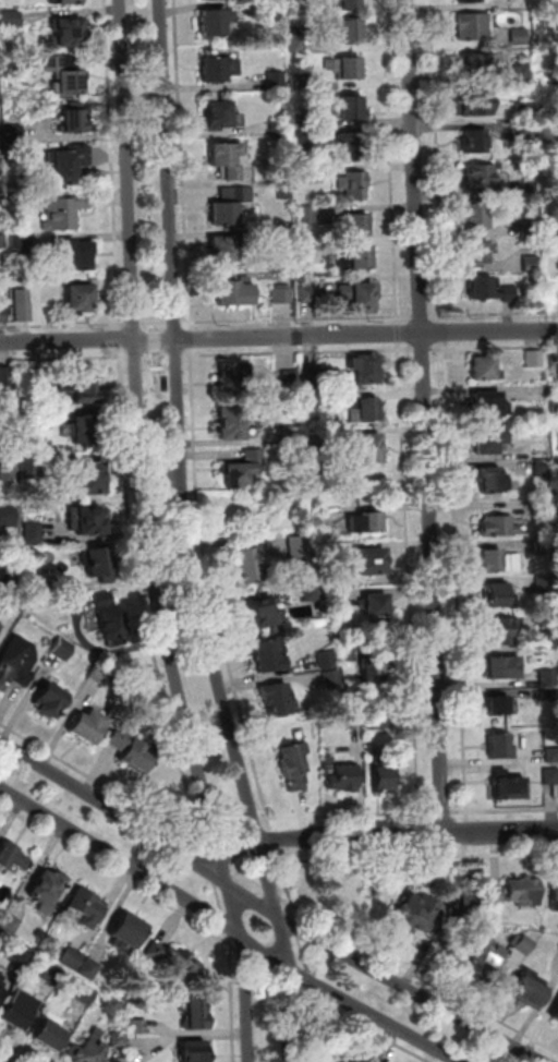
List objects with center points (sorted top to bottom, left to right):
building: (466, 0)
building: (66, 1)
building: (349, 3)
building: (274, 12)
building: (13, 20)
building: (210, 22)
building: (471, 25)
building: (349, 29)
building: (70, 33)
building: (518, 34)
building: (313, 39)
building: (298, 44)
building: (473, 61)
building: (349, 65)
building: (218, 67)
building: (521, 69)
building: (69, 74)
building: (551, 79)
building: (277, 81)
road: (386, 81)
building: (300, 82)
building: (472, 99)
building: (350, 104)
building: (526, 110)
building: (216, 112)
building: (302, 119)
building: (75, 122)
building: (278, 129)
building: (527, 131)
building: (16, 134)
building: (473, 137)
building: (302, 138)
building: (350, 138)
building: (553, 138)
building: (0, 147)
building: (229, 158)
road: (435, 159)
building: (68, 165)
road: (184, 165)
building: (478, 174)
building: (307, 176)
building: (354, 183)
building: (530, 189)
building: (284, 191)
building: (2, 203)
building: (65, 212)
building: (221, 213)
building: (308, 215)
building: (477, 215)
road: (117, 221)
building: (357, 222)
building: (531, 228)
building: (284, 236)
road: (392, 241)
building: (3, 242)
building: (22, 243)
building: (478, 250)
building: (221, 251)
building: (310, 251)
building: (361, 254)
building: (76, 256)
building: (533, 264)
building: (3, 278)
building: (480, 285)
building: (232, 291)
building: (365, 293)
building: (310, 294)
building: (511, 294)
building: (284, 295)
building: (80, 299)
building: (24, 305)
road: (499, 313)
road: (434, 314)
building: (3, 315)
road: (418, 315)
road: (301, 318)
road: (157, 323)
road: (177, 323)
road: (187, 323)
road: (125, 324)
road: (136, 324)
road: (121, 327)
road: (442, 330)
road: (397, 331)
road: (278, 336)
road: (122, 338)
road: (192, 339)
road: (493, 345)
road: (421, 348)
road: (302, 351)
road: (123, 352)
building: (535, 359)
building: (483, 365)
road: (189, 367)
building: (364, 367)
road: (159, 369)
road: (179, 369)
road: (138, 370)
road: (128, 371)
building: (229, 374)
building: (289, 376)
building: (7, 377)
building: (84, 386)
building: (539, 393)
building: (487, 401)
building: (366, 407)
road: (426, 417)
building: (31, 418)
building: (230, 421)
building: (88, 431)
building: (288, 431)
building: (492, 438)
building: (363, 445)
building: (9, 454)
building: (31, 466)
building: (544, 468)
building: (238, 469)
building: (10, 473)
building: (90, 480)
building: (494, 482)
building: (542, 509)
building: (317, 512)
building: (9, 518)
building: (365, 519)
building: (86, 522)
building: (496, 523)
building: (36, 534)
road: (148, 536)
road: (187, 536)
road: (133, 543)
building: (544, 546)
building: (490, 558)
building: (368, 559)
building: (250, 562)
building: (99, 566)
road: (410, 584)
building: (546, 584)
building: (306, 590)
building: (496, 591)
road: (215, 592)
building: (332, 596)
building: (374, 603)
building: (257, 610)
building: (109, 616)
road: (459, 620)
building: (1, 628)
building: (502, 630)
building: (551, 641)
building: (62, 650)
building: (268, 653)
building: (323, 656)
building: (14, 663)
building: (506, 664)
building: (376, 666)
building: (101, 675)
building: (550, 679)
building: (550, 695)
building: (274, 698)
building: (50, 702)
building: (498, 702)
building: (376, 715)
building: (87, 728)
building: (500, 747)
building: (136, 756)
building: (553, 756)
building: (292, 763)
building: (340, 774)
building: (383, 775)
building: (551, 776)
road: (101, 783)
building: (512, 786)
road: (444, 812)
road: (468, 812)
road: (351, 814)
road: (265, 818)
road: (255, 819)
road: (235, 822)
road: (215, 826)
road: (205, 829)
road: (193, 831)
road: (469, 833)
road: (423, 835)
road: (378, 836)
road: (275, 838)
road: (207, 849)
road: (423, 849)
road: (468, 849)
road: (420, 857)
building: (11, 859)
road: (222, 864)
road: (215, 868)
road: (248, 878)
building: (47, 890)
road: (274, 893)
building: (517, 893)
building: (555, 895)
road: (221, 898)
road: (289, 902)
building: (469, 902)
road: (163, 905)
road: (268, 908)
building: (86, 909)
road: (294, 912)
building: (420, 917)
building: (11, 924)
road: (226, 924)
road: (228, 924)
road: (298, 928)
building: (129, 932)
road: (229, 943)
building: (526, 945)
road: (303, 952)
building: (23, 954)
building: (74, 957)
building: (173, 960)
road: (399, 963)
building: (487, 965)
road: (264, 966)
building: (92, 969)
building: (54, 975)
building: (1, 977)
road: (306, 977)
road: (294, 987)
building: (1, 988)
road: (308, 991)
building: (88, 994)
building: (530, 994)
road: (331, 1006)
building: (19, 1012)
building: (197, 1014)
building: (556, 1016)
building: (139, 1027)
building: (51, 1034)
building: (120, 1039)
building: (195, 1052)
building: (86, 1053)
road: (12, 1054)
building: (337, 1059)
building: (383, 1061)

